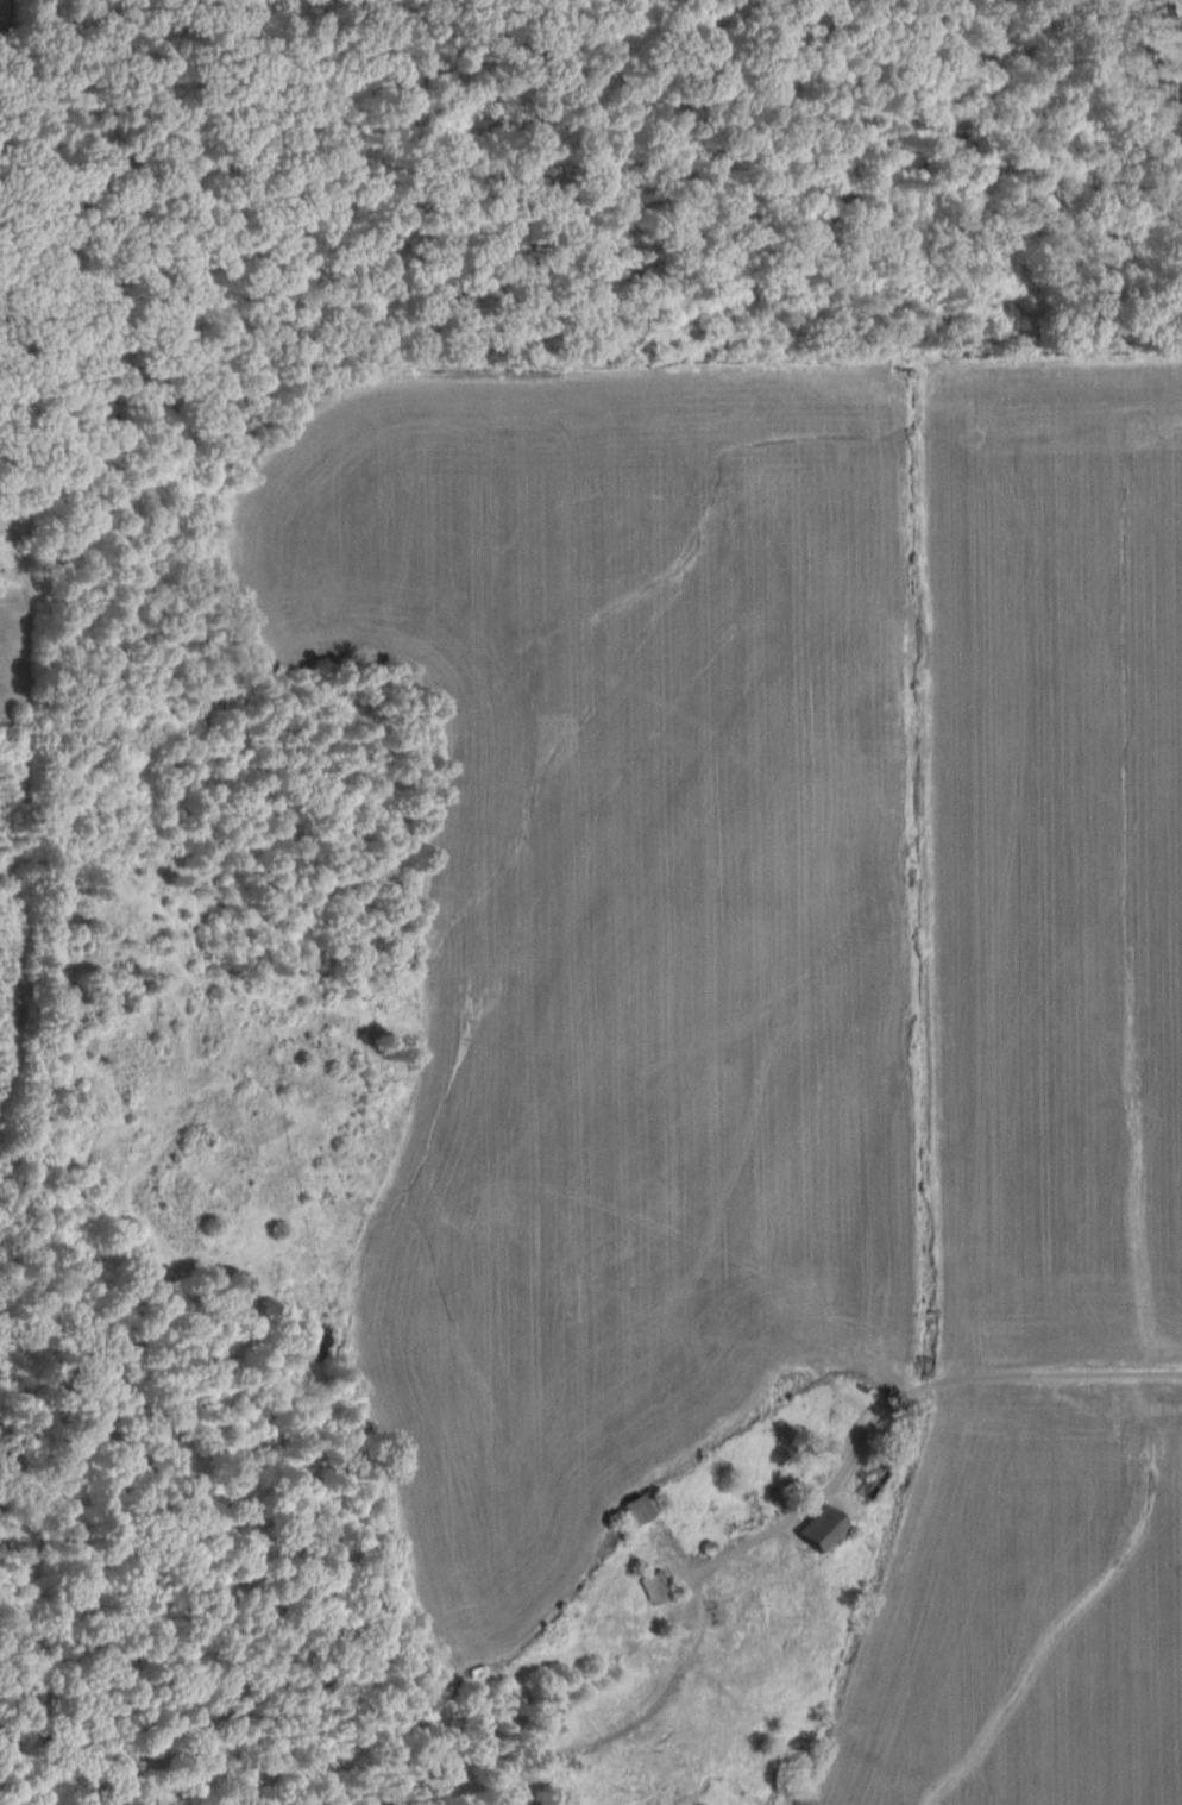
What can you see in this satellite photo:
road: (993, 1381)
building: (821, 1534)
building: (652, 1586)

